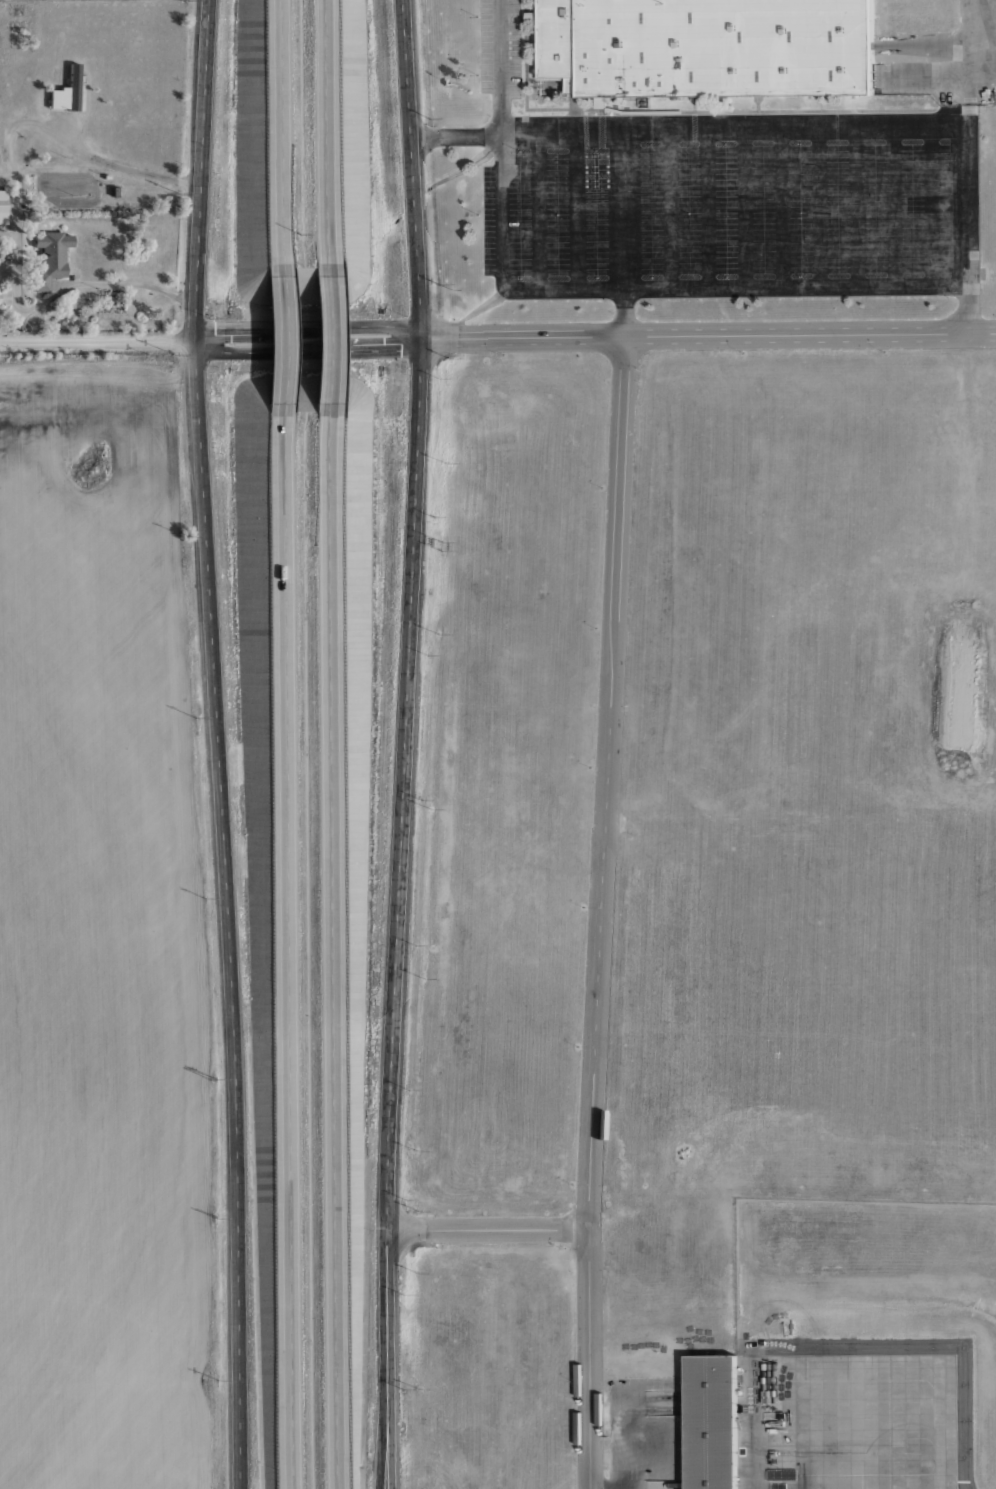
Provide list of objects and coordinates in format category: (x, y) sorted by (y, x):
building: (531, 17)
building: (708, 47)
road: (972, 52)
building: (71, 86)
building: (56, 98)
road: (327, 133)
road: (688, 134)
road: (282, 137)
road: (107, 163)
road: (202, 170)
building: (105, 176)
building: (113, 191)
building: (2, 200)
parking lot: (729, 200)
road: (625, 210)
road: (16, 217)
building: (2, 218)
road: (966, 218)
building: (48, 257)
road: (103, 283)
road: (592, 285)
road: (624, 310)
road: (17, 330)
road: (708, 334)
road: (308, 339)
road: (97, 342)
road: (328, 342)
road: (283, 343)
road: (890, 540)
road: (896, 561)
road: (832, 729)
road: (405, 744)
road: (821, 818)
road: (615, 823)
road: (811, 825)
road: (600, 911)
road: (228, 914)
road: (289, 950)
road: (332, 953)
road: (681, 997)
road: (603, 1123)
road: (488, 1231)
airport: (802, 1344)
road: (385, 1400)
airport apron: (845, 1414)
building: (712, 1422)
airport taxiway: (890, 1425)
road: (633, 1439)

